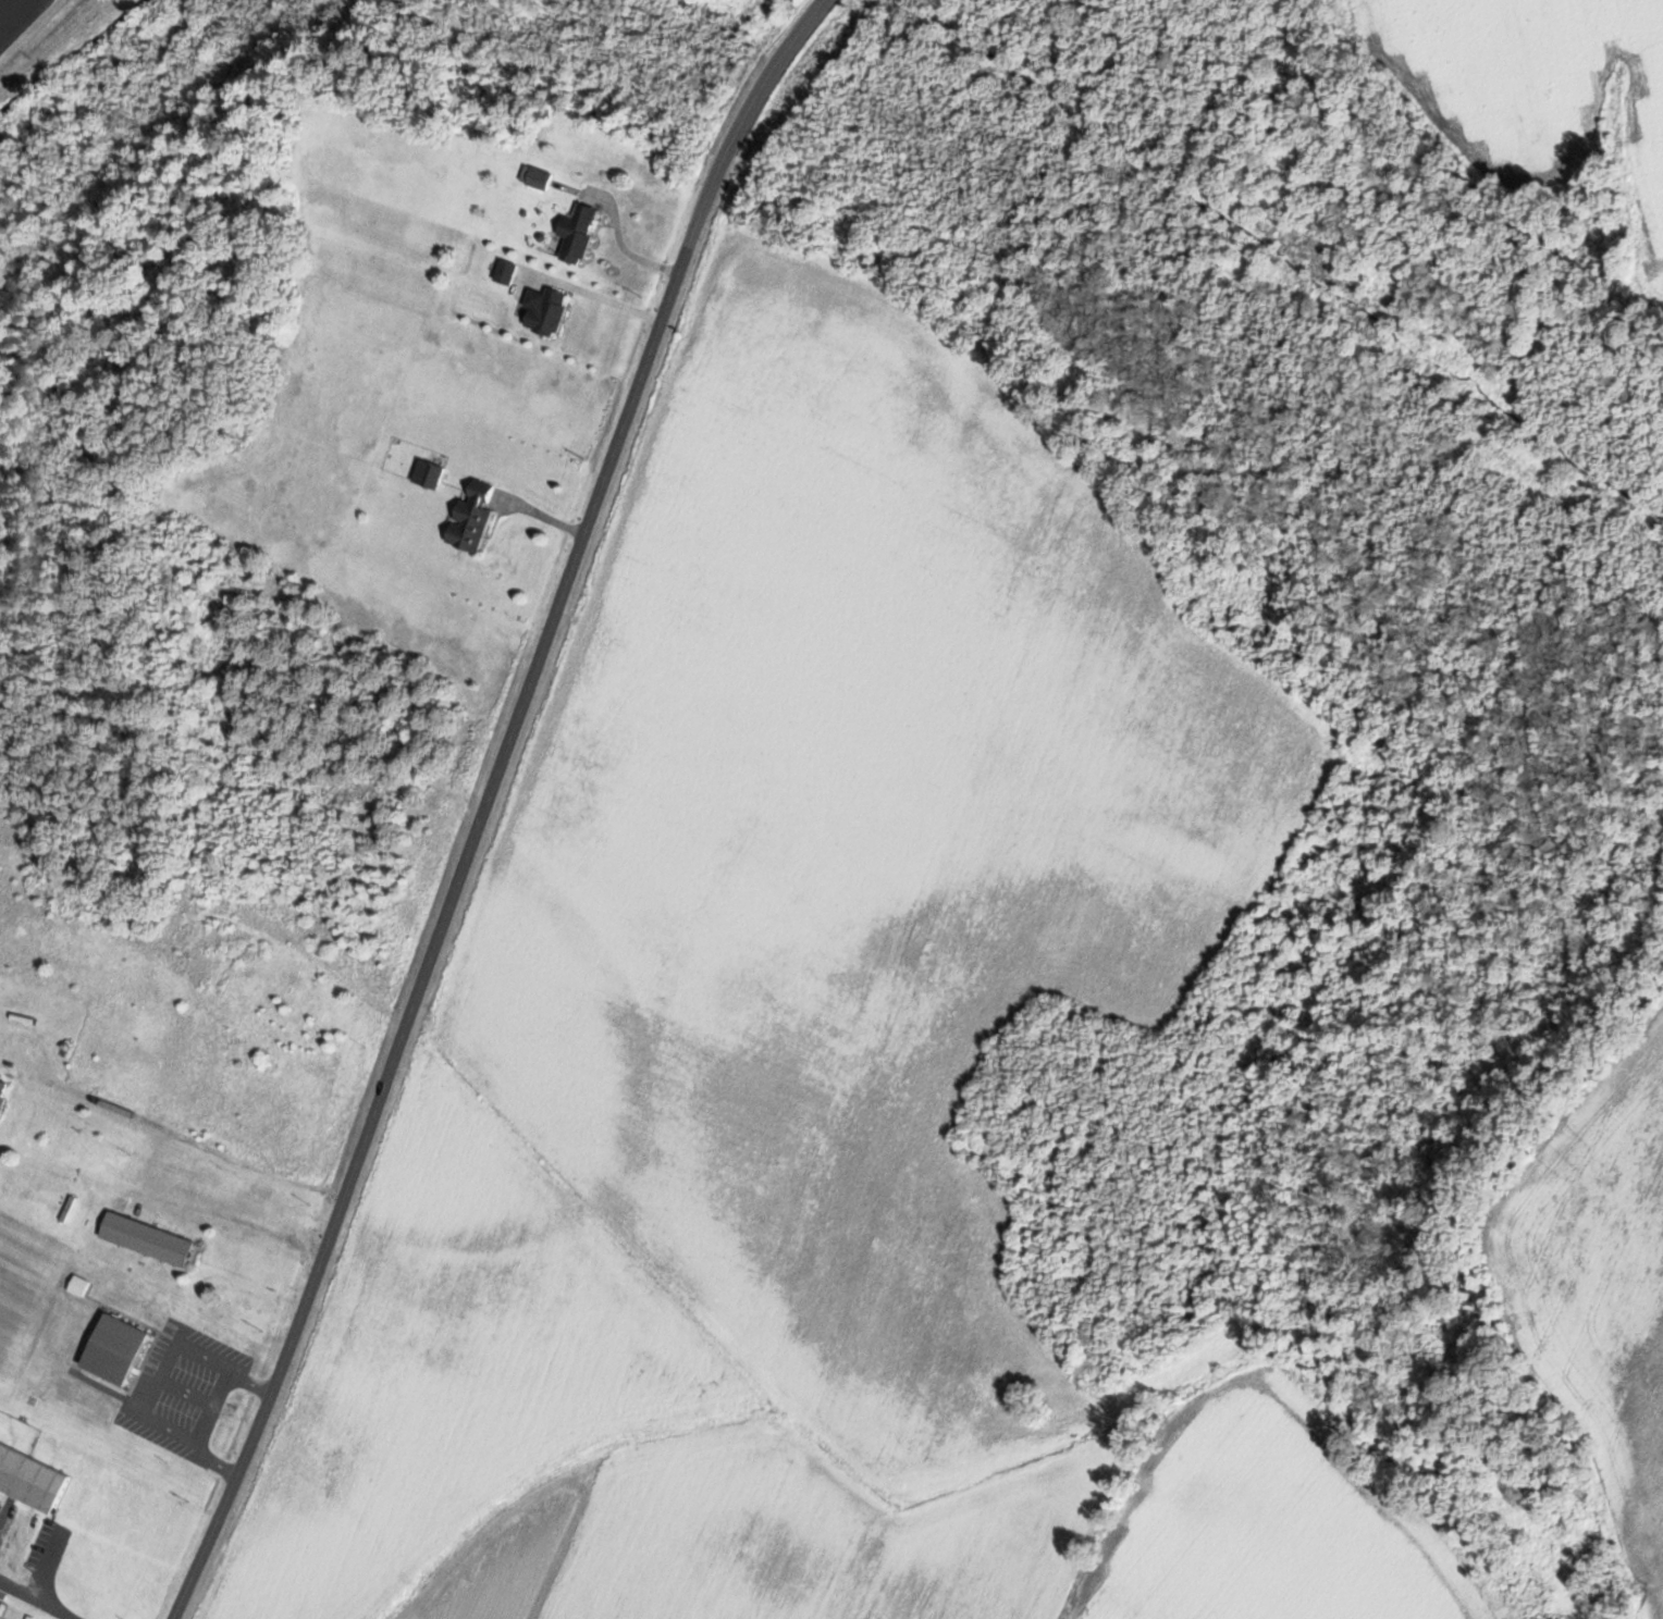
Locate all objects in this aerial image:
wastewater plant: (22, 21)
building: (539, 177)
building: (578, 233)
building: (505, 271)
building: (545, 310)
building: (429, 473)
building: (472, 518)
road: (486, 803)
building: (2, 1091)
building: (149, 1238)
building: (79, 1285)
building: (118, 1349)
building: (32, 1478)

